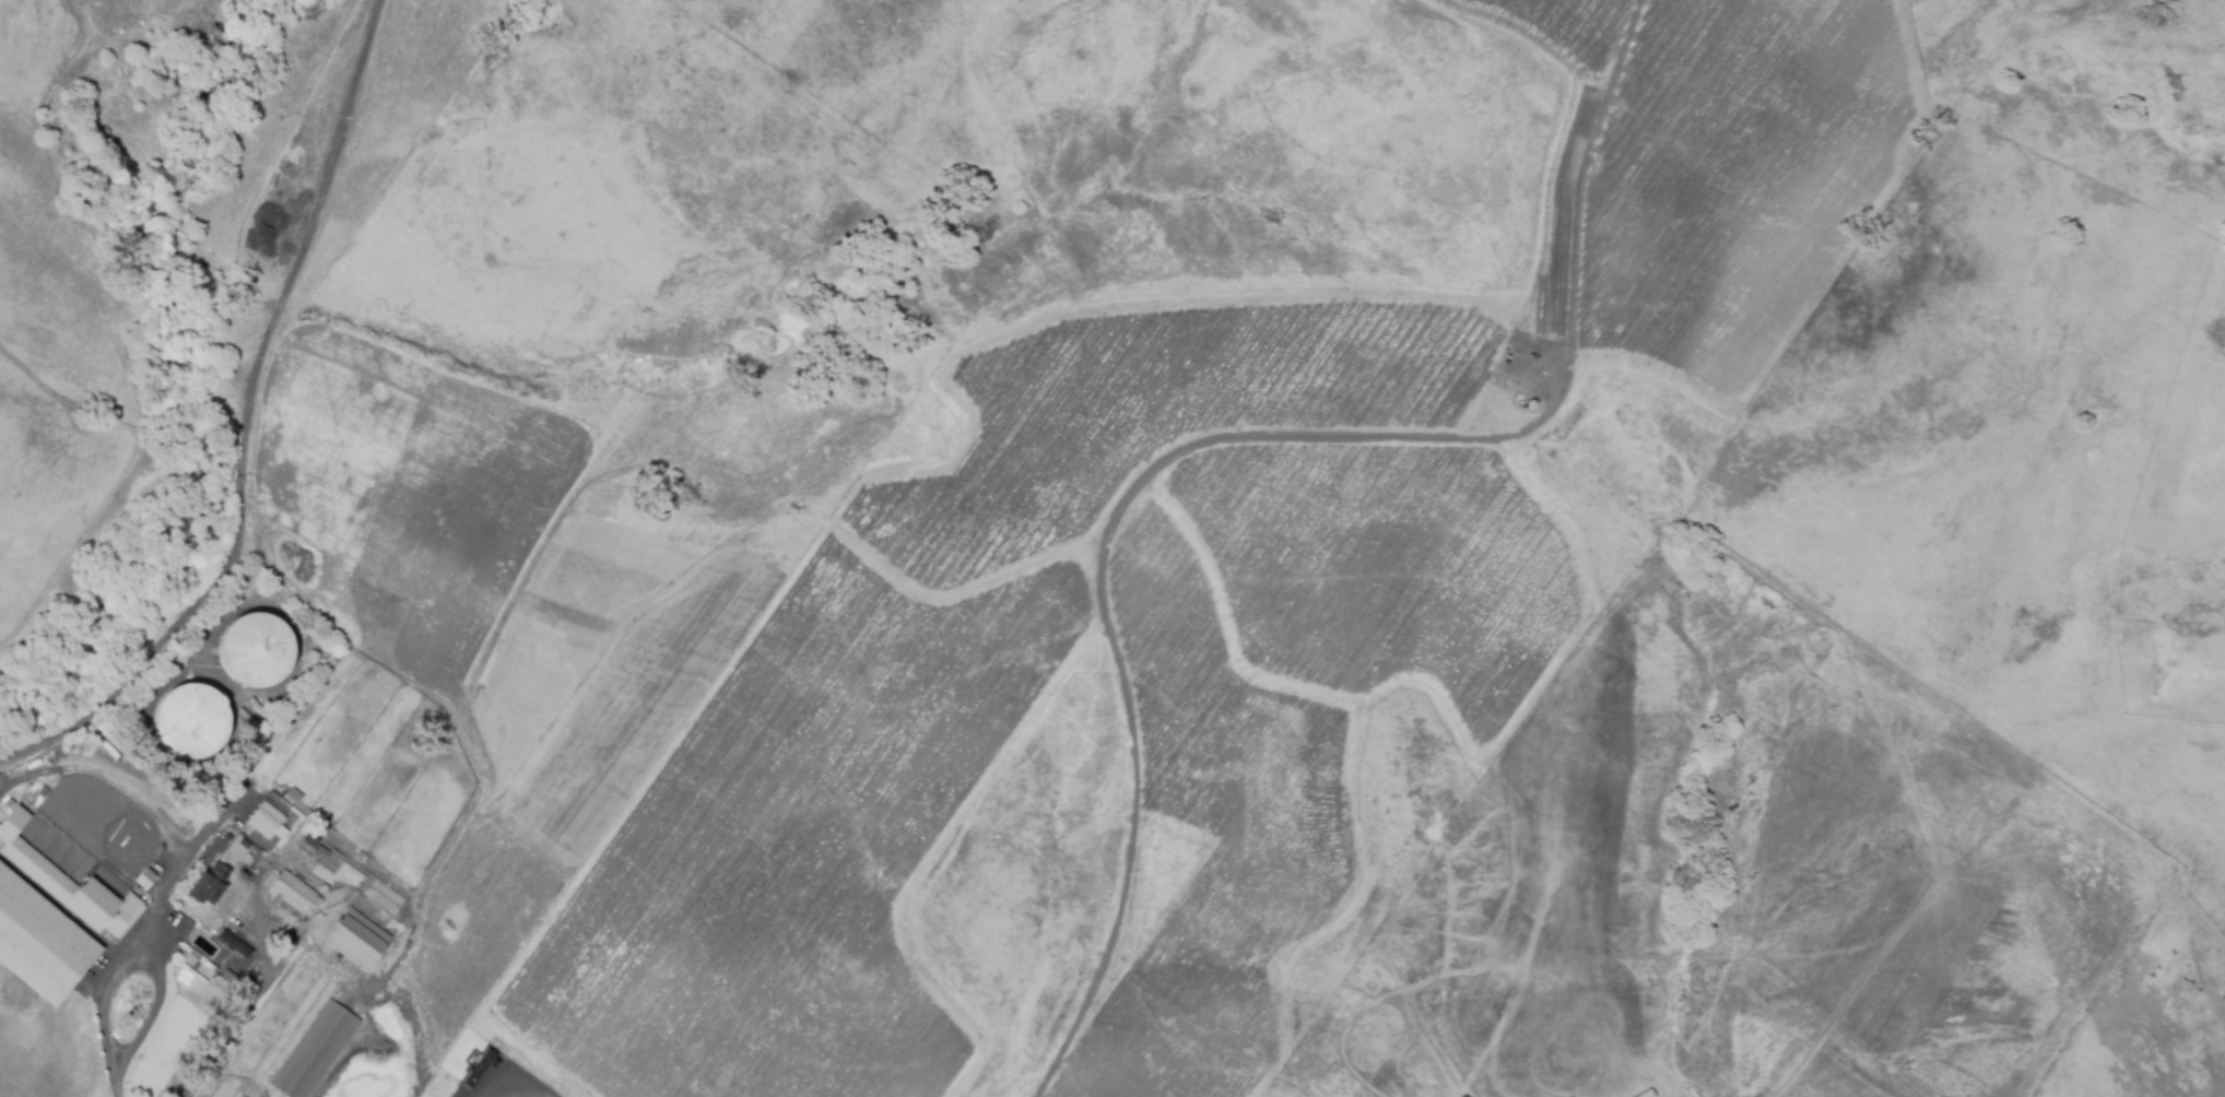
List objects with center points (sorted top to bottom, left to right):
road: (246, 427)
building: (256, 650)
building: (251, 712)
building: (190, 721)
building: (36, 819)
building: (267, 822)
building: (55, 835)
building: (250, 836)
building: (310, 841)
building: (325, 854)
building: (82, 859)
building: (144, 878)
building: (211, 884)
building: (294, 893)
building: (51, 916)
building: (357, 941)
building: (237, 945)
building: (200, 956)
road: (157, 958)
building: (232, 979)
road: (108, 993)
road: (243, 1012)
building: (316, 1050)
building: (480, 1070)
road: (480, 1094)
building: (1646, 1094)

